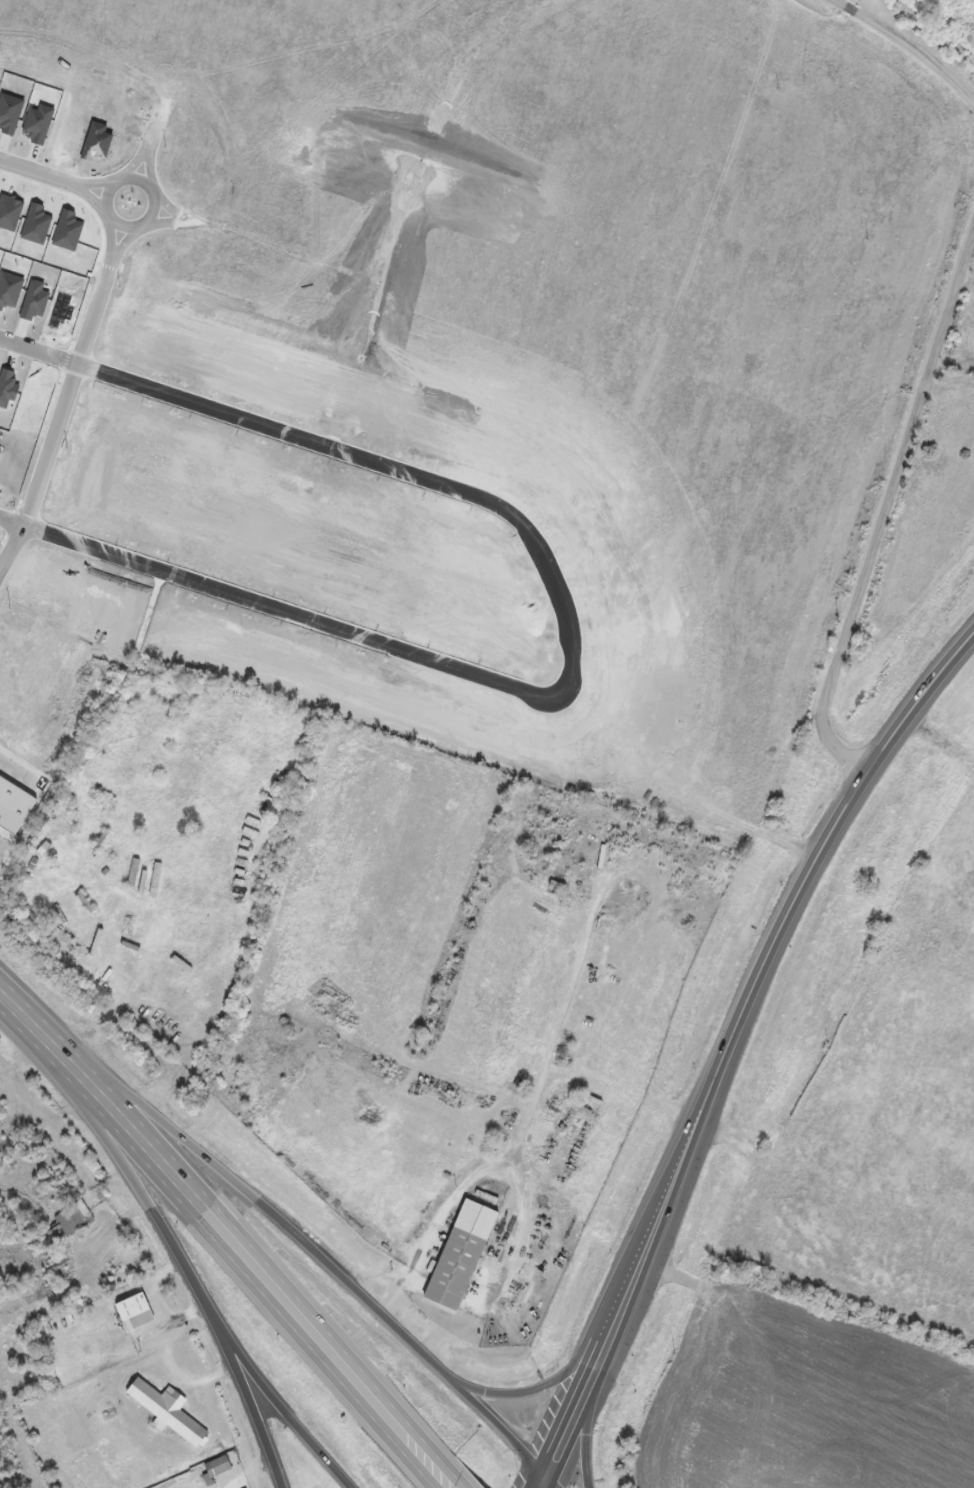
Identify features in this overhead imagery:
road: (907, 46)
road: (155, 126)
road: (148, 142)
road: (36, 173)
road: (72, 185)
road: (190, 227)
road: (130, 229)
road: (109, 259)
road: (38, 351)
road: (60, 414)
road: (885, 517)
road: (12, 522)
road: (1, 567)
road: (571, 651)
road: (812, 877)
road: (47, 1017)
road: (27, 1041)
road: (522, 1125)
building: (69, 1222)
road: (437, 1225)
road: (648, 1246)
road: (325, 1263)
building: (471, 1267)
road: (278, 1268)
road: (186, 1269)
road: (246, 1278)
road: (423, 1308)
building: (136, 1312)
road: (597, 1360)
road: (532, 1390)
building: (168, 1410)
road: (290, 1415)
road: (570, 1421)
road: (586, 1428)
building: (218, 1467)
road: (467, 1481)
road: (543, 1481)
road: (552, 1481)

